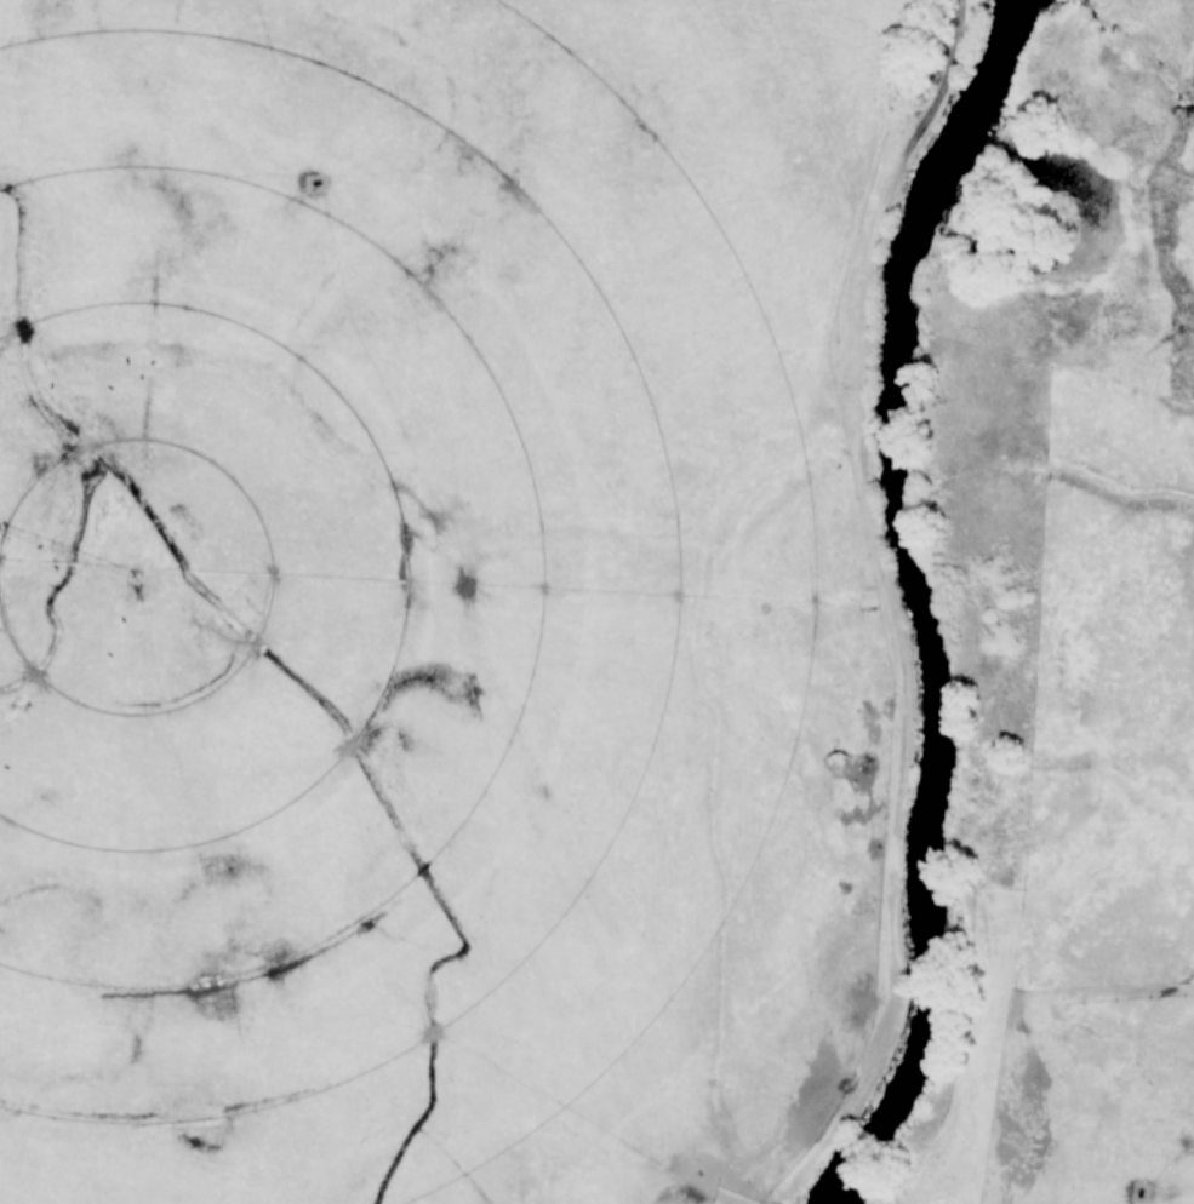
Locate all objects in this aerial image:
river: (921, 600)

